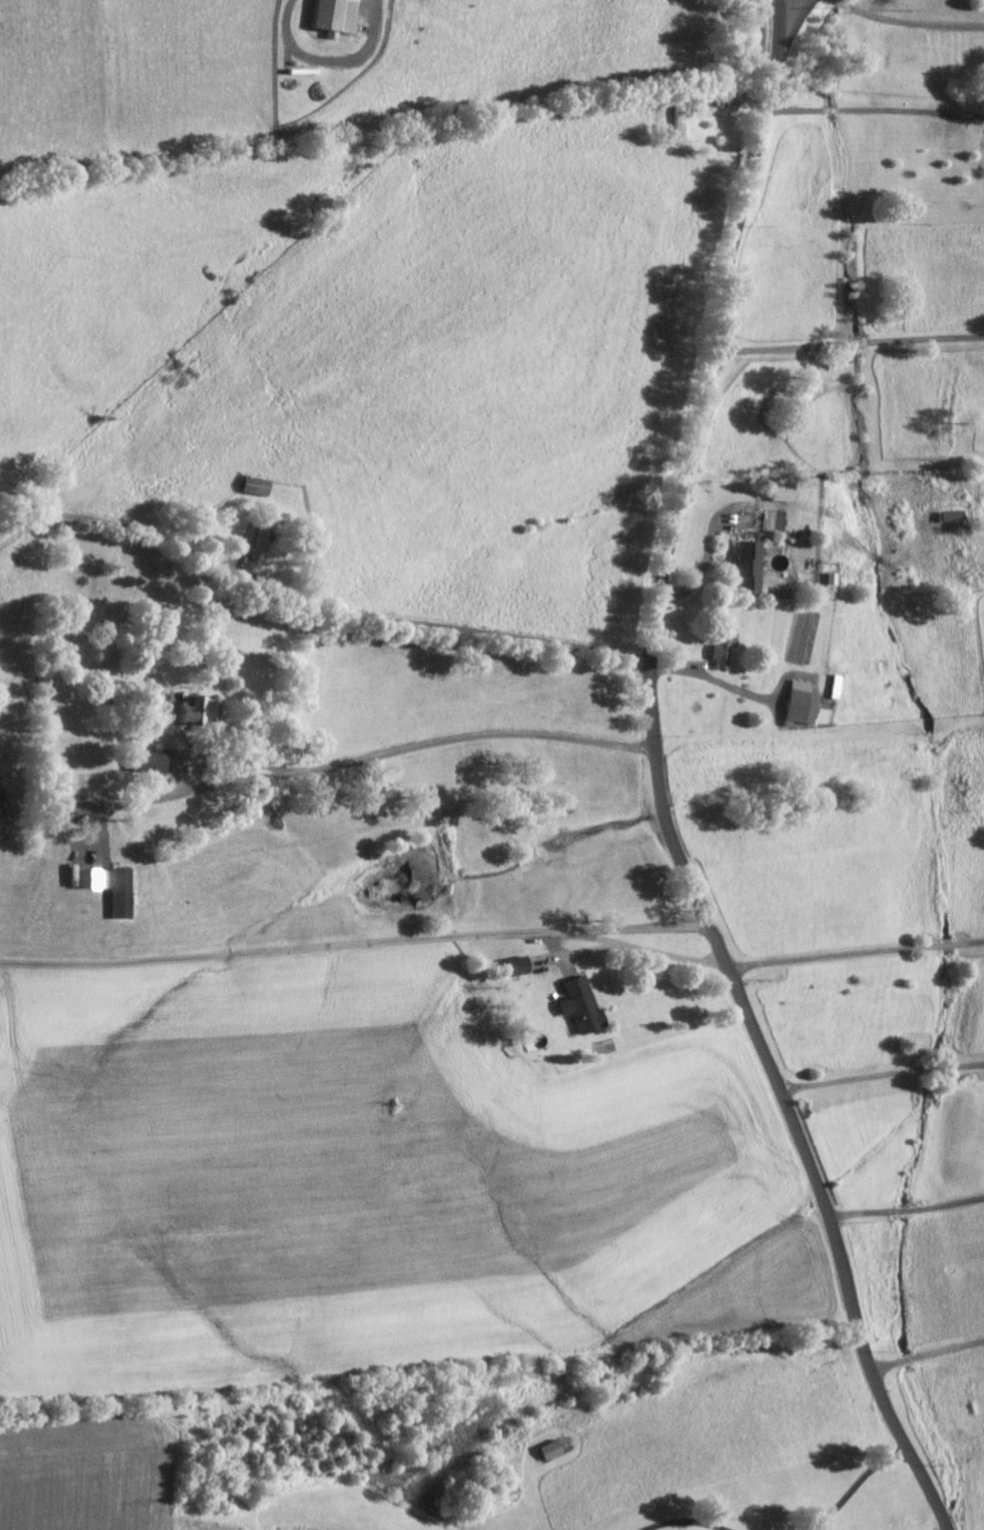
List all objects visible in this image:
road: (792, 15)
building: (330, 16)
road: (907, 22)
road: (330, 58)
road: (796, 108)
road: (831, 109)
road: (911, 110)
road: (928, 339)
road: (860, 342)
road: (782, 350)
building: (262, 486)
building: (778, 492)
building: (265, 541)
building: (744, 566)
road: (704, 573)
road: (442, 625)
building: (719, 642)
road: (714, 680)
building: (796, 703)
building: (206, 709)
building: (157, 762)
road: (347, 762)
road: (661, 785)
building: (94, 879)
building: (125, 893)
road: (364, 941)
road: (854, 953)
building: (515, 966)
building: (576, 1005)
road: (882, 1080)
road: (907, 1214)
road: (928, 1357)
building: (548, 1449)
road: (860, 1485)
road: (688, 1524)

